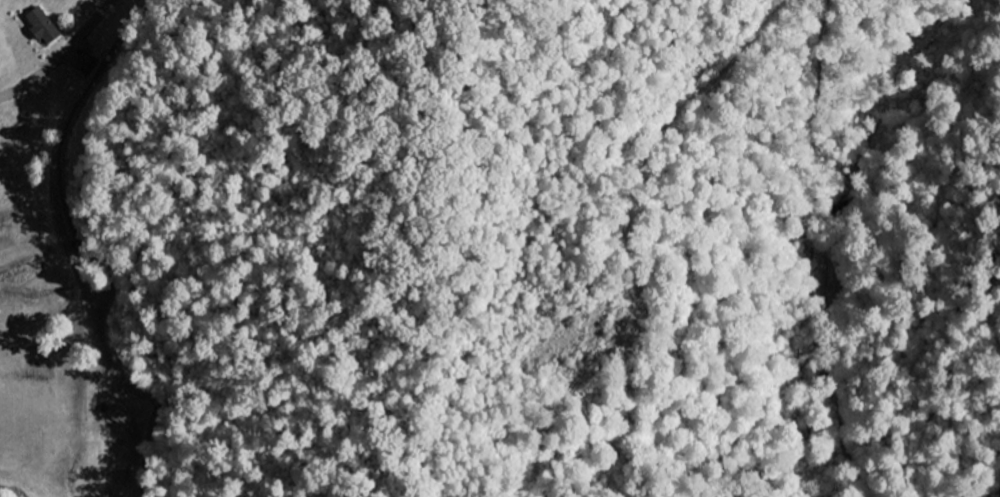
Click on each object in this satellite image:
building: (42, 28)
road: (58, 54)

